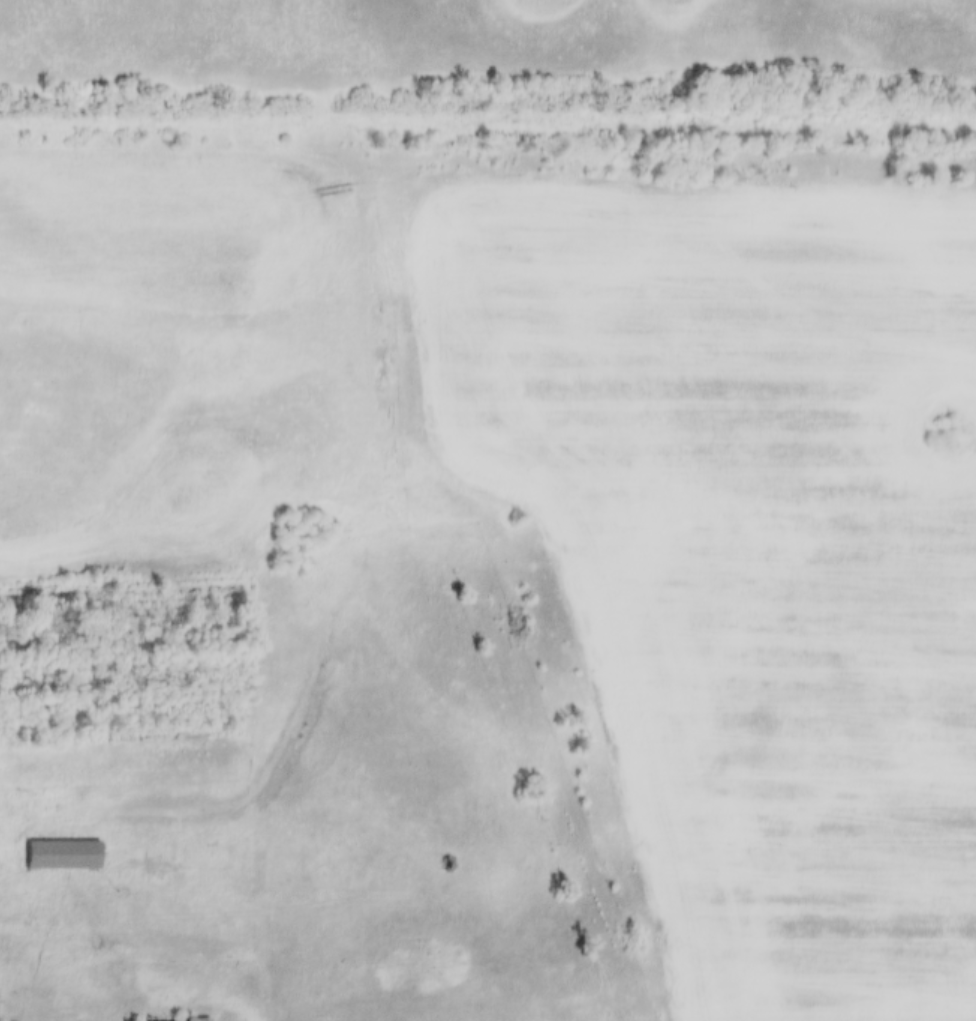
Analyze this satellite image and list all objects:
building: (61, 844)
building: (168, 1019)

